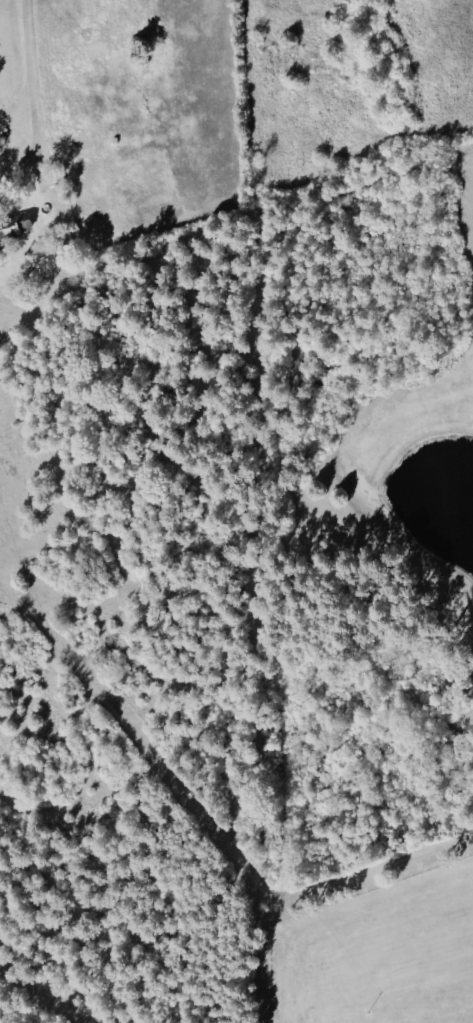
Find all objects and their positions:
road: (28, 93)
building: (12, 227)

